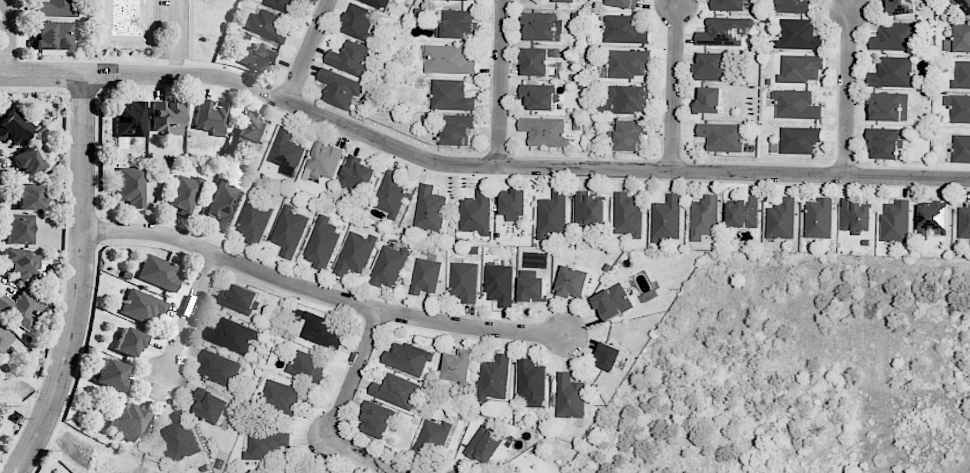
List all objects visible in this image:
building: (565, 1)
building: (377, 3)
building: (622, 3)
building: (962, 3)
building: (283, 4)
building: (727, 5)
building: (792, 6)
building: (901, 6)
building: (53, 8)
building: (357, 22)
building: (455, 23)
building: (268, 25)
building: (540, 26)
building: (624, 29)
building: (723, 31)
building: (799, 35)
building: (52, 36)
building: (895, 36)
road: (11, 37)
building: (958, 39)
road: (307, 51)
building: (259, 58)
building: (349, 58)
building: (448, 59)
building: (536, 61)
building: (627, 63)
building: (710, 66)
building: (800, 68)
building: (891, 72)
building: (961, 75)
road: (500, 83)
road: (674, 85)
building: (339, 88)
road: (849, 88)
building: (451, 95)
building: (540, 96)
building: (626, 99)
building: (707, 99)
building: (796, 104)
building: (888, 106)
building: (958, 107)
building: (168, 117)
building: (210, 117)
building: (130, 119)
building: (15, 126)
building: (457, 129)
building: (252, 130)
building: (544, 131)
building: (629, 134)
building: (722, 136)
building: (799, 139)
building: (884, 142)
building: (961, 148)
building: (286, 152)
building: (30, 159)
building: (322, 160)
road: (476, 165)
building: (357, 174)
building: (130, 186)
building: (184, 193)
building: (391, 193)
building: (30, 196)
building: (224, 204)
building: (514, 204)
building: (588, 208)
building: (429, 209)
building: (476, 212)
building: (743, 212)
building: (552, 214)
building: (627, 214)
building: (856, 216)
building: (704, 217)
building: (666, 218)
building: (818, 218)
building: (781, 219)
building: (255, 220)
building: (932, 220)
building: (895, 221)
building: (964, 222)
building: (17, 229)
building: (289, 231)
building: (322, 243)
building: (355, 253)
building: (21, 261)
building: (389, 266)
building: (158, 272)
building: (425, 275)
road: (82, 280)
building: (464, 281)
building: (572, 282)
building: (499, 284)
building: (532, 286)
road: (321, 293)
building: (239, 299)
building: (612, 302)
building: (142, 306)
building: (21, 308)
road: (190, 316)
building: (320, 331)
building: (232, 335)
building: (5, 337)
building: (128, 342)
building: (609, 356)
building: (407, 358)
building: (458, 365)
building: (307, 366)
building: (219, 368)
building: (111, 374)
building: (494, 378)
building: (530, 382)
building: (395, 391)
building: (281, 396)
building: (569, 397)
building: (210, 405)
road: (343, 407)
building: (377, 419)
building: (127, 420)
building: (180, 437)
building: (430, 440)
building: (265, 444)
building: (485, 444)
building: (323, 472)

